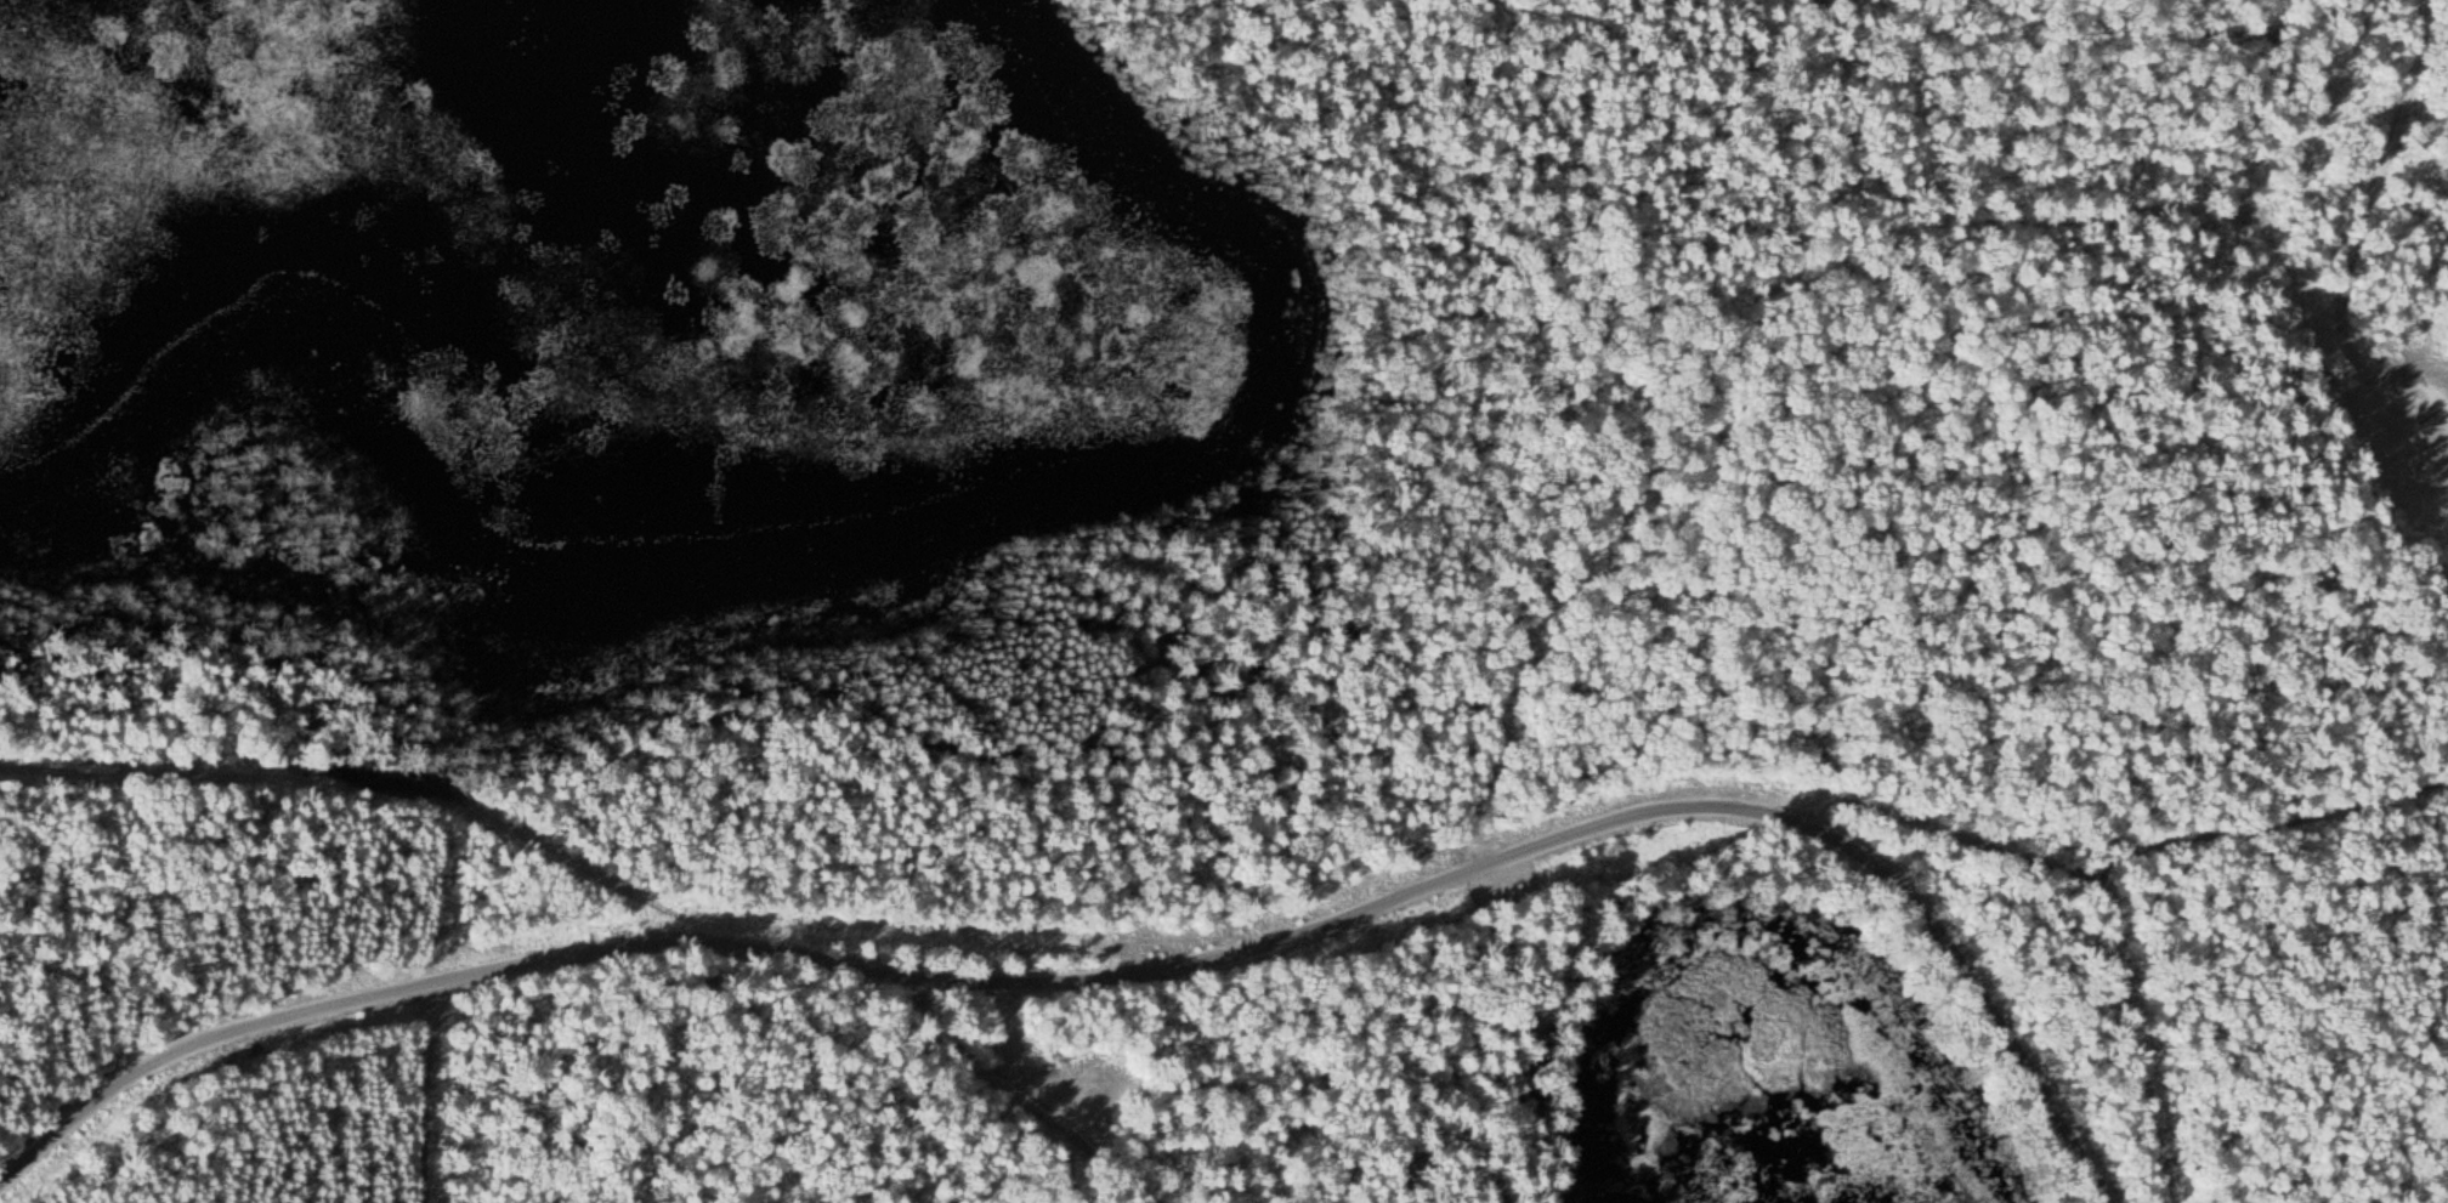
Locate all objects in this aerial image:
road: (2365, 197)
building: (2336, 365)
petroleum well: (2415, 407)
road: (2110, 853)
road: (1134, 981)
road: (1015, 1095)
road: (424, 1097)

